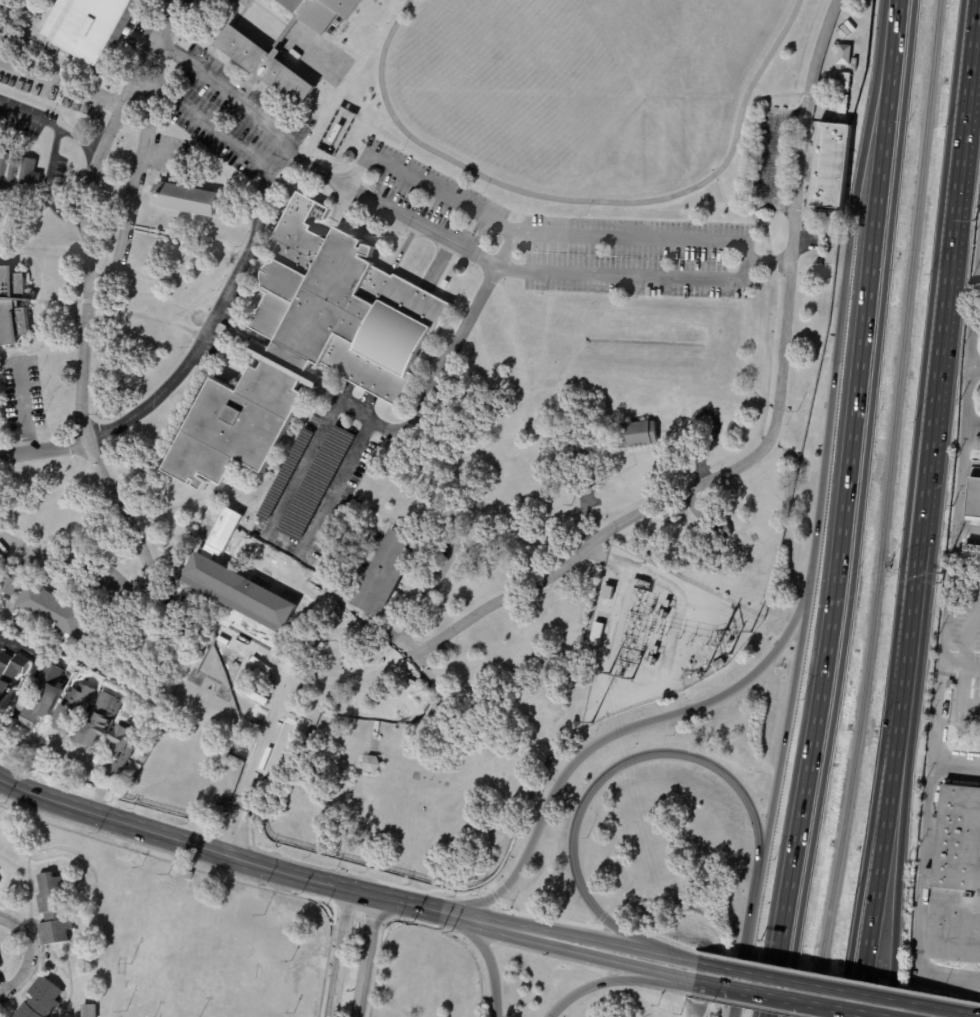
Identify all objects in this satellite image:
road: (894, 22)
building: (90, 25)
building: (857, 52)
building: (250, 55)
building: (842, 55)
building: (859, 64)
building: (845, 83)
track: (579, 89)
road: (226, 91)
building: (842, 104)
road: (206, 121)
road: (53, 126)
building: (337, 132)
building: (347, 157)
building: (768, 157)
building: (830, 167)
building: (18, 176)
road: (131, 188)
road: (46, 191)
building: (187, 198)
road: (411, 222)
road: (537, 231)
road: (505, 248)
road: (647, 277)
building: (12, 307)
road: (839, 315)
road: (976, 320)
building: (309, 344)
building: (552, 354)
road: (941, 355)
road: (25, 409)
building: (636, 434)
building: (581, 444)
road: (48, 448)
road: (961, 453)
road: (748, 460)
road: (105, 462)
road: (298, 485)
building: (973, 498)
railway: (882, 509)
road: (907, 509)
road: (859, 510)
building: (224, 530)
road: (840, 532)
building: (717, 534)
road: (14, 542)
building: (971, 547)
building: (388, 573)
road: (949, 592)
building: (242, 595)
building: (51, 609)
building: (663, 610)
road: (329, 634)
building: (596, 634)
power substation: (654, 635)
road: (970, 637)
road: (20, 645)
building: (651, 656)
building: (716, 663)
building: (8, 674)
road: (961, 691)
building: (52, 703)
building: (76, 710)
building: (99, 719)
road: (936, 719)
road: (785, 727)
road: (614, 733)
building: (121, 749)
road: (63, 753)
building: (374, 765)
road: (607, 770)
road: (224, 852)
road: (880, 863)
road: (898, 863)
building: (189, 875)
building: (955, 879)
road: (919, 898)
building: (54, 910)
road: (486, 923)
road: (583, 937)
road: (744, 941)
road: (335, 951)
road: (27, 954)
road: (365, 956)
road: (589, 956)
road: (672, 957)
road: (487, 960)
building: (0, 966)
road: (678, 978)
road: (601, 982)
road: (838, 988)
building: (40, 999)
road: (792, 999)
building: (90, 1010)

